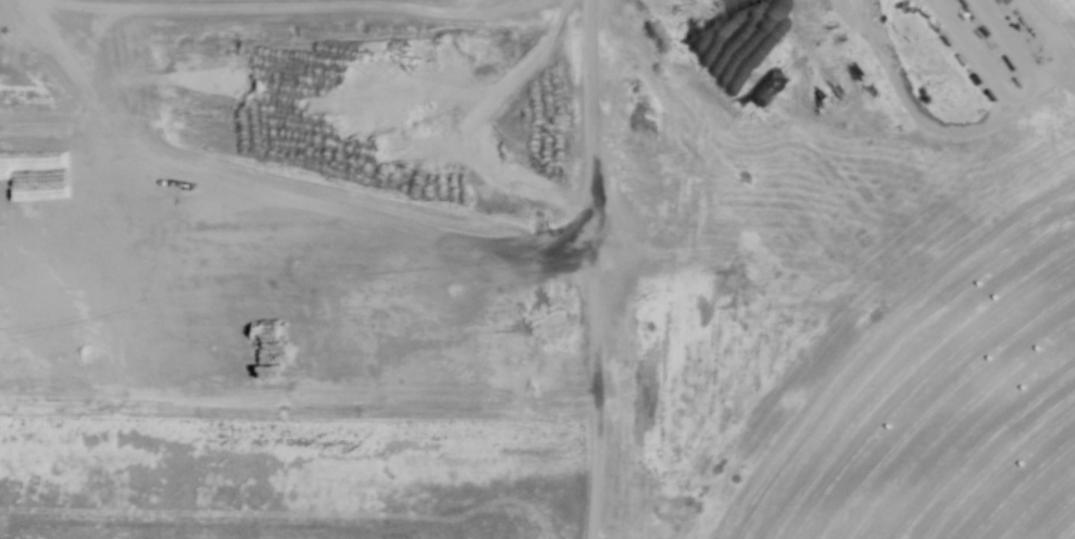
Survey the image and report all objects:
crop: (1055, 24)
road: (378, 213)
crop: (925, 381)

